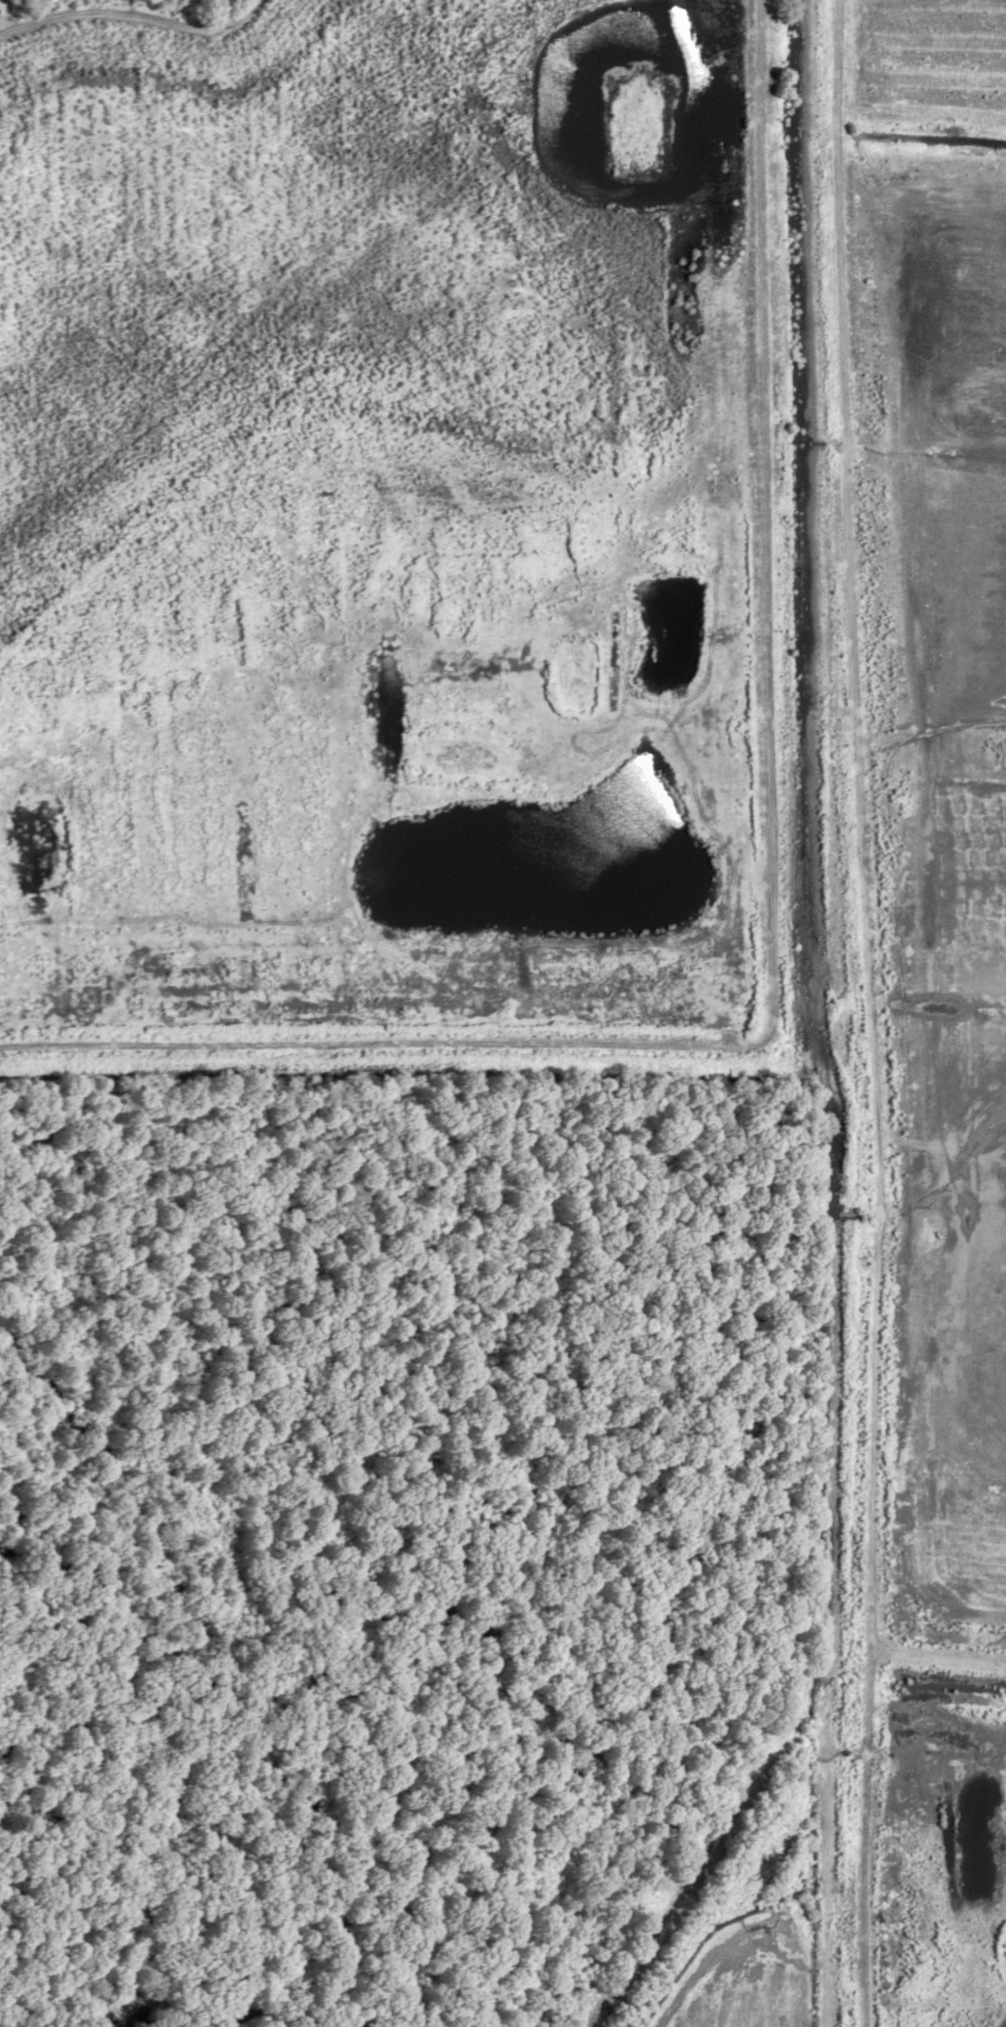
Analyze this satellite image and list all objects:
road: (131, 10)

